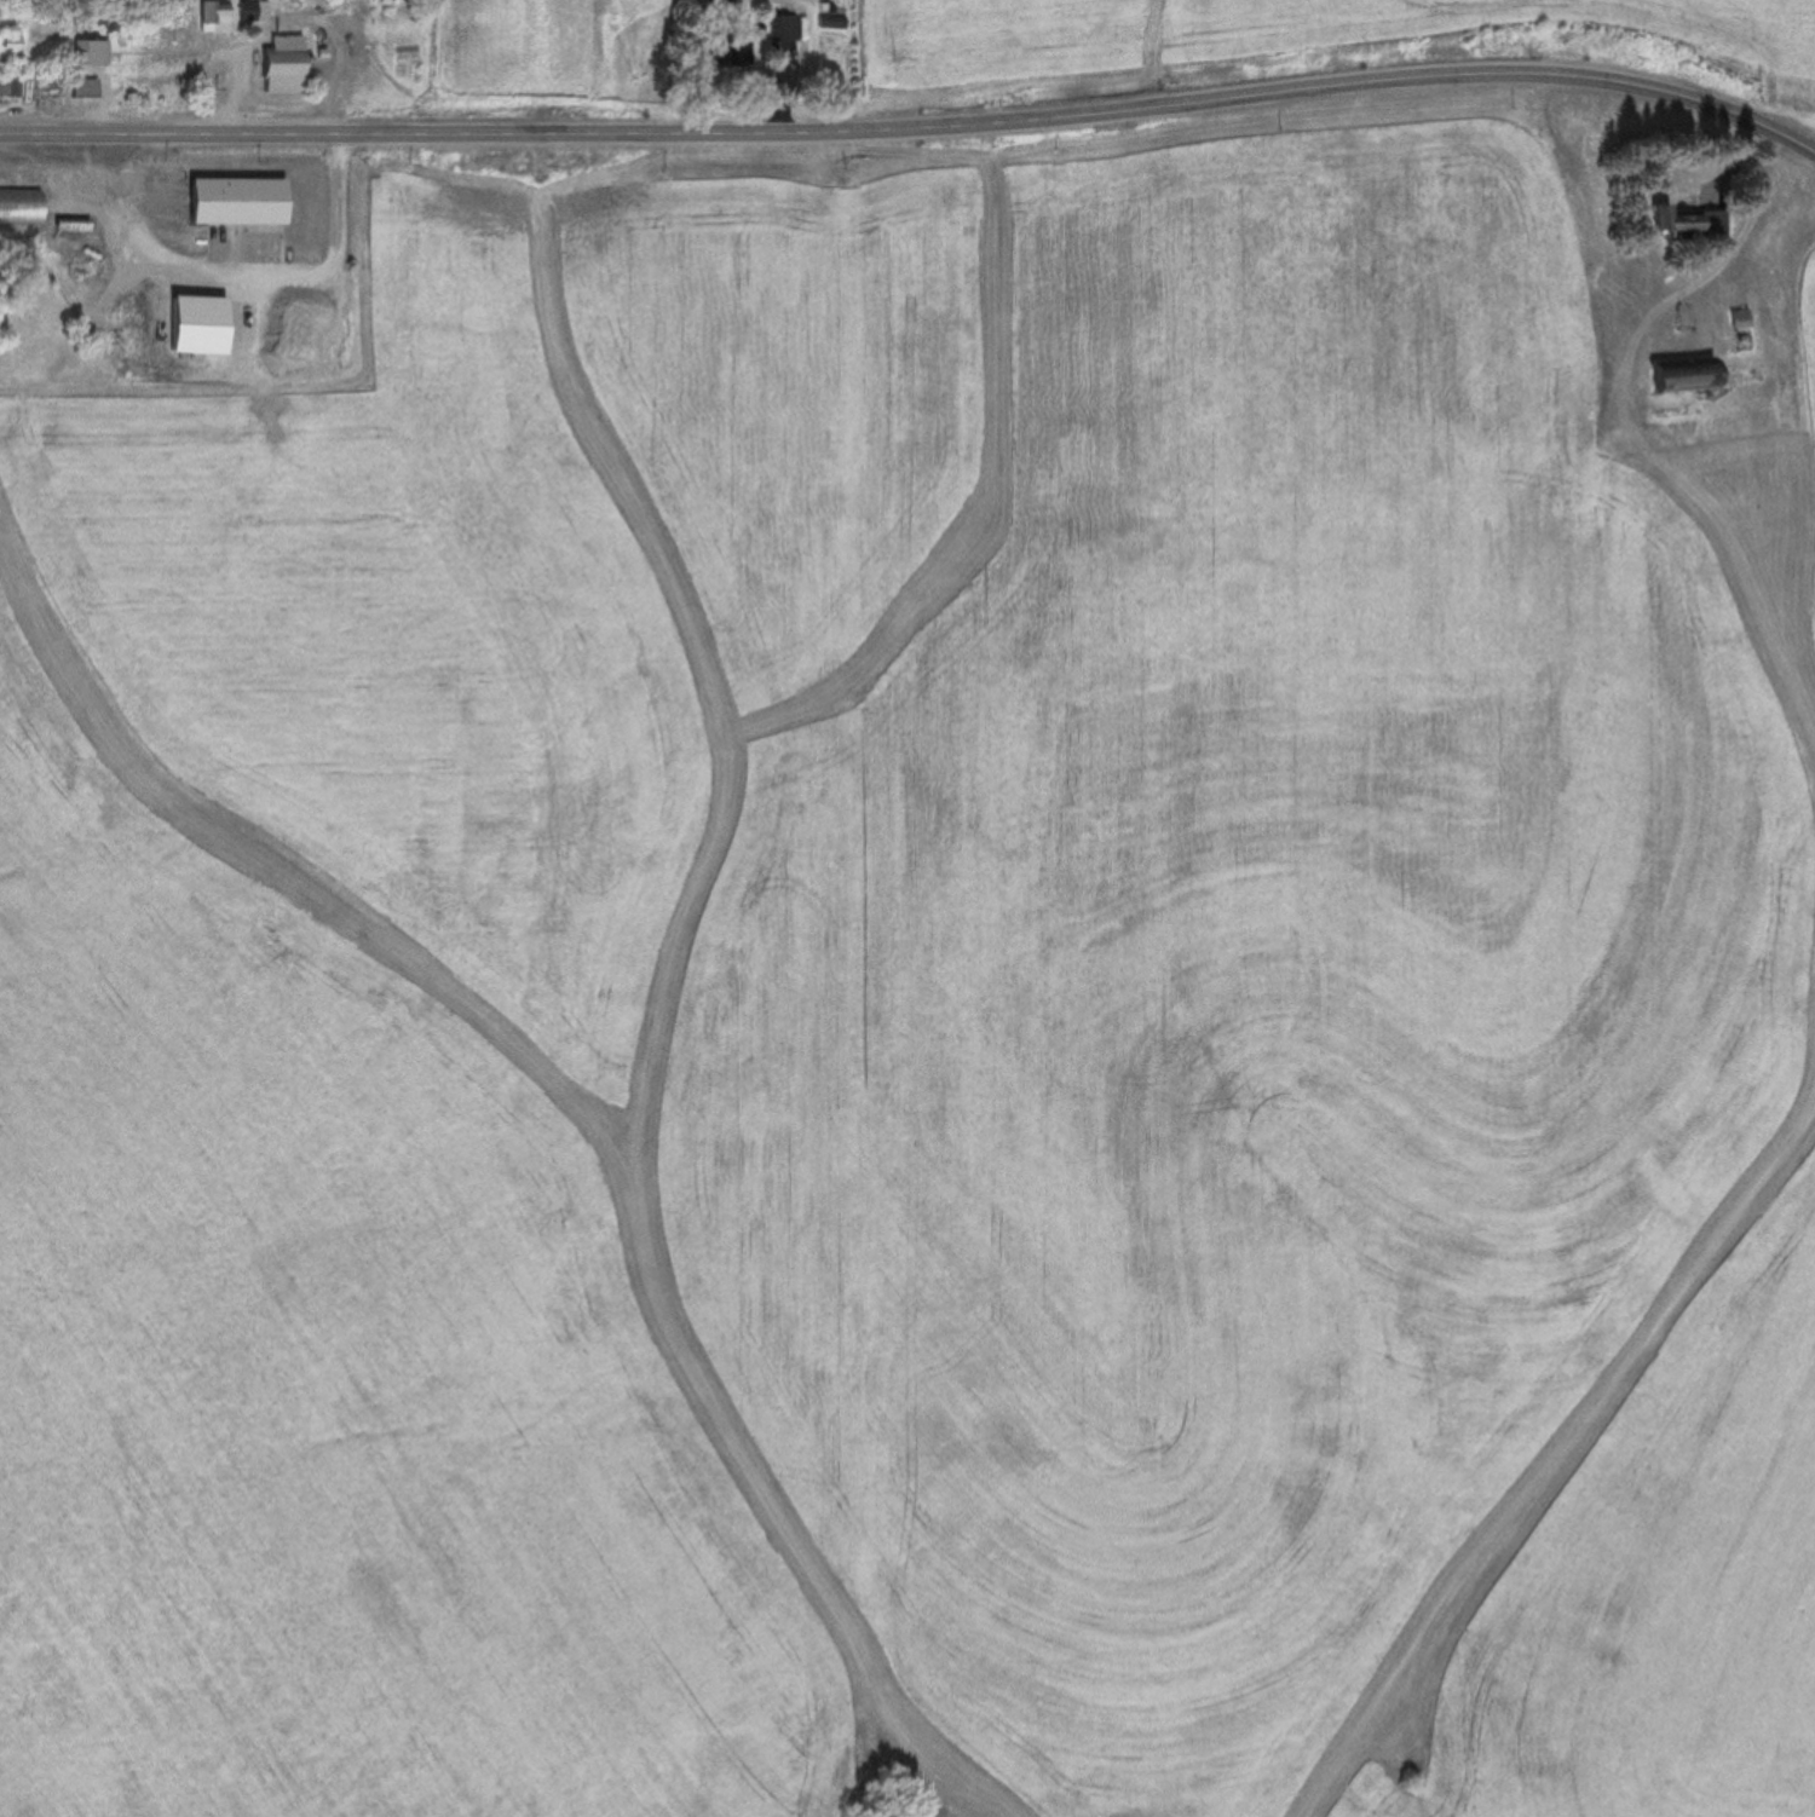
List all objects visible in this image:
building: (250, 8)
building: (211, 15)
building: (104, 17)
building: (829, 21)
building: (780, 25)
building: (88, 50)
building: (733, 52)
building: (280, 63)
building: (13, 70)
building: (82, 86)
road: (915, 126)
building: (235, 198)
building: (19, 204)
building: (1683, 220)
building: (1678, 373)

